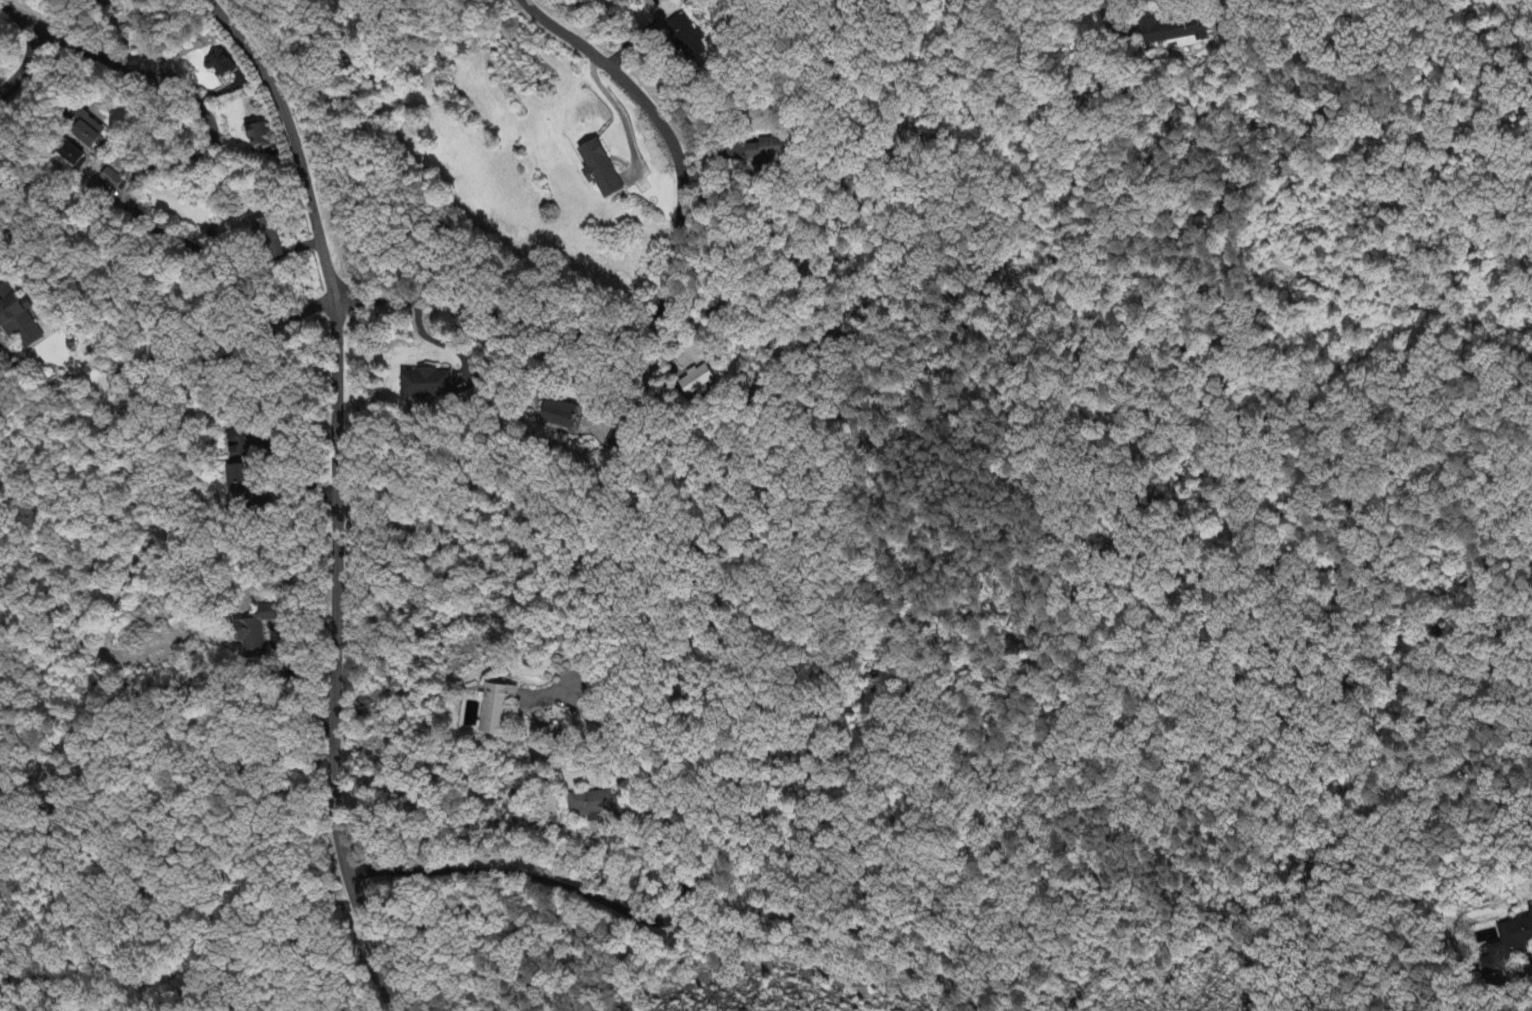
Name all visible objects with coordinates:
road: (21, 18)
road: (1113, 20)
building: (1179, 28)
building: (685, 39)
road: (1416, 44)
road: (105, 64)
building: (220, 65)
road: (27, 67)
building: (85, 128)
building: (257, 136)
building: (767, 150)
building: (69, 157)
building: (595, 168)
building: (111, 179)
road: (137, 188)
building: (268, 241)
road: (675, 290)
building: (18, 318)
road: (438, 341)
road: (197, 357)
road: (79, 371)
building: (698, 383)
building: (426, 385)
building: (557, 415)
road: (292, 465)
building: (238, 481)
road: (337, 494)
road: (117, 606)
building: (254, 635)
road: (579, 690)
road: (303, 694)
building: (494, 709)
road: (552, 745)
building: (591, 804)
road: (633, 913)
building: (1506, 946)
road: (1529, 970)
road: (1397, 1003)

